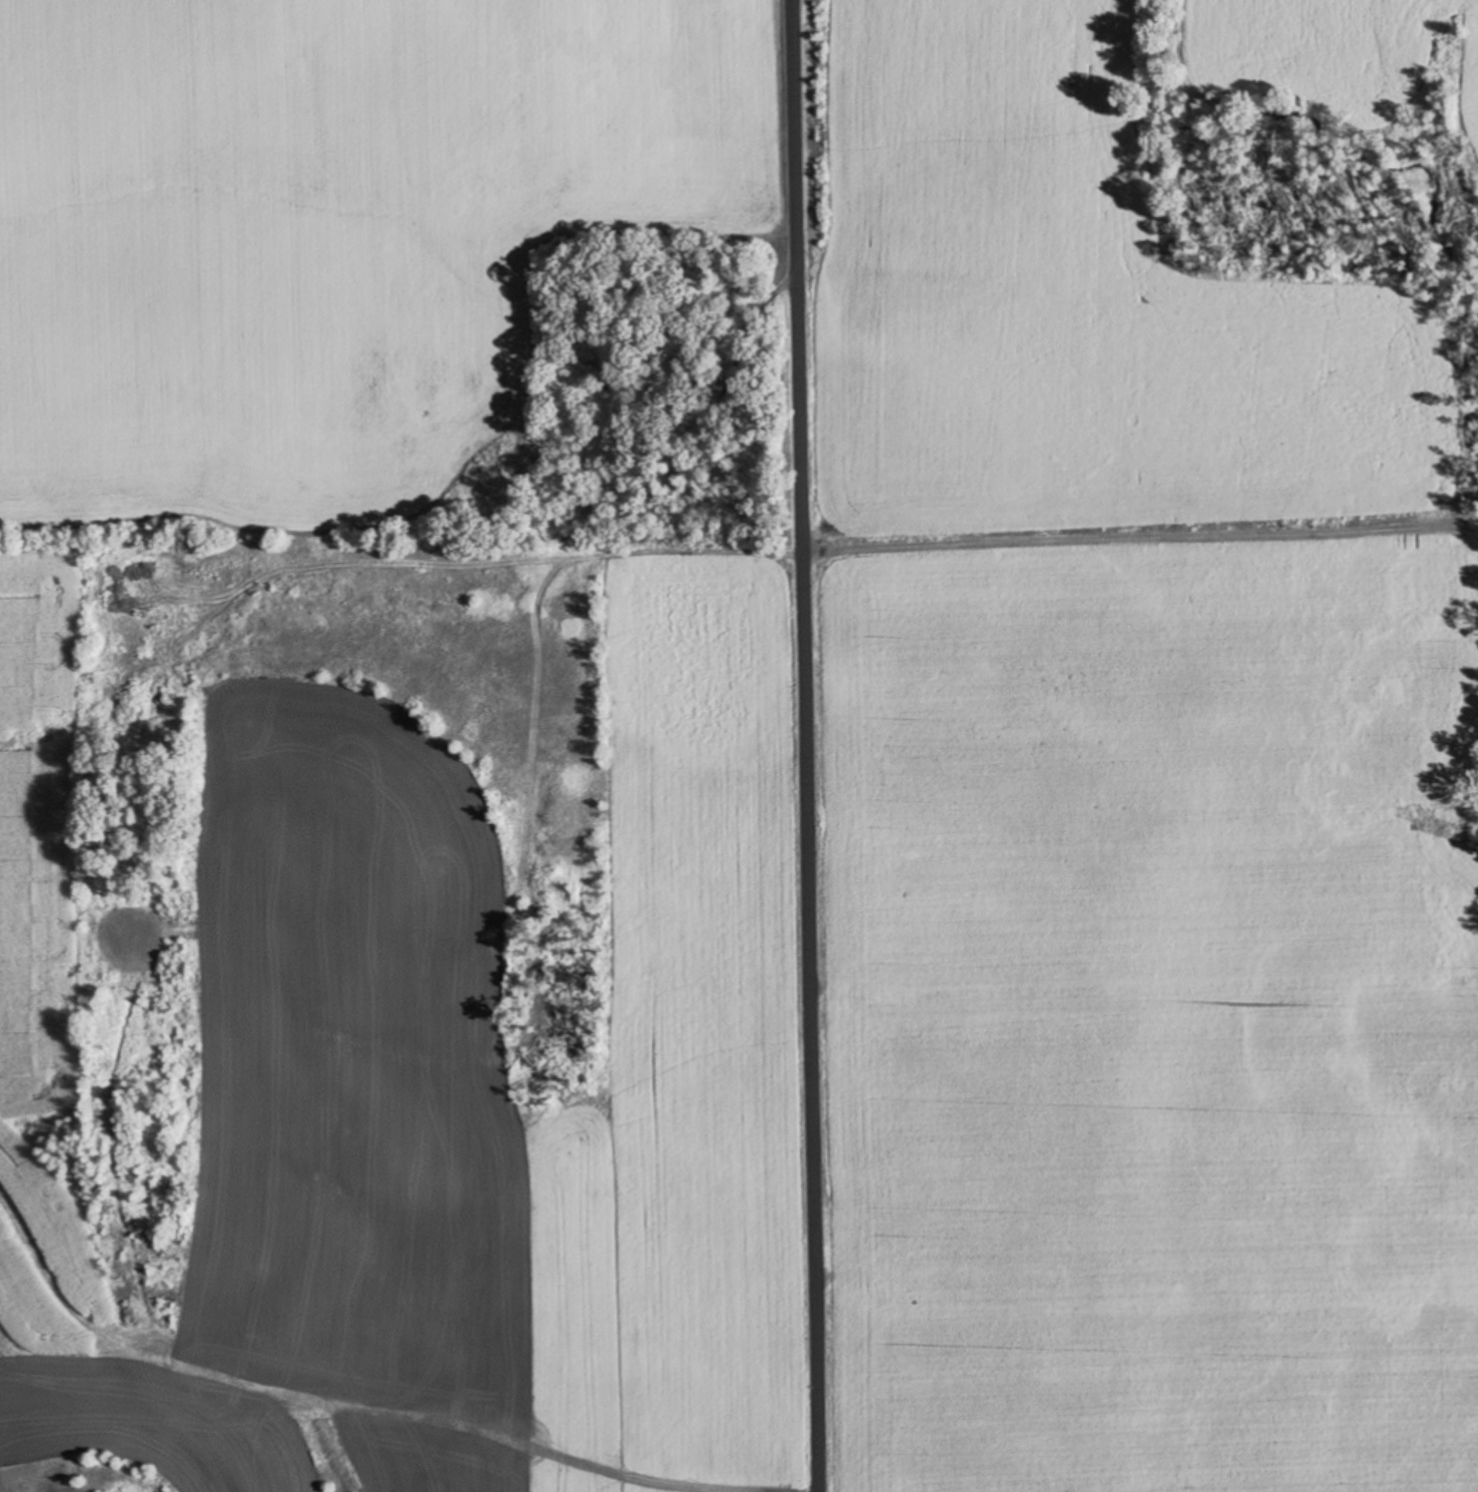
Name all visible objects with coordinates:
road: (804, 745)
crop: (377, 776)
crop: (1129, 785)

